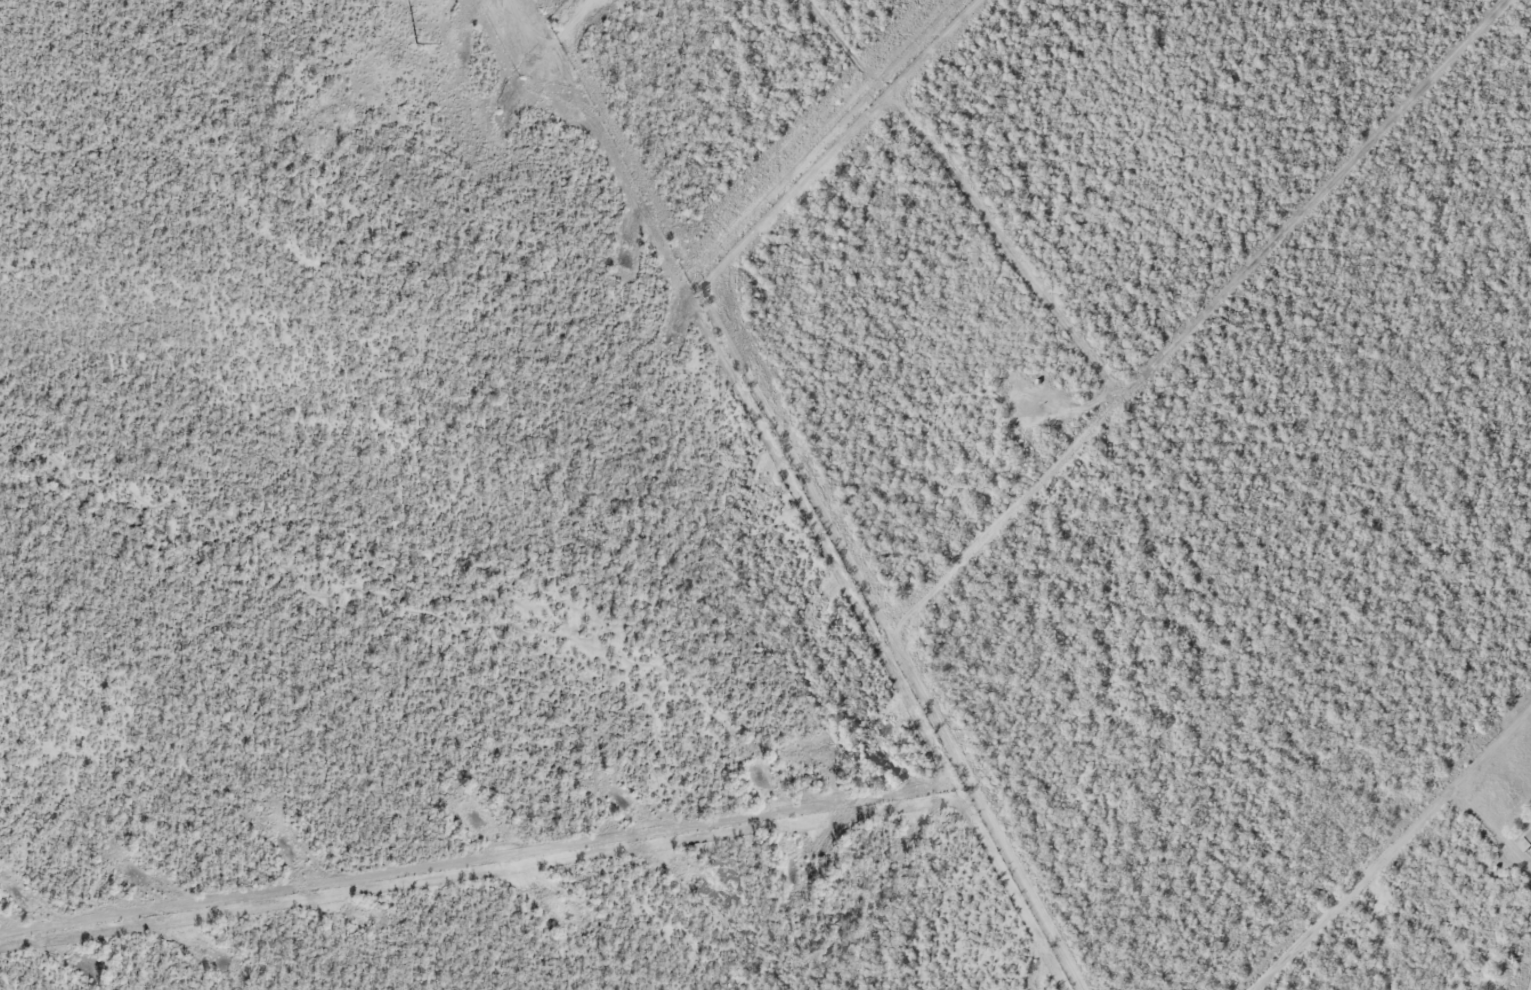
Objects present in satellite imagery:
power tower: (414, 42)
building: (1529, 836)

